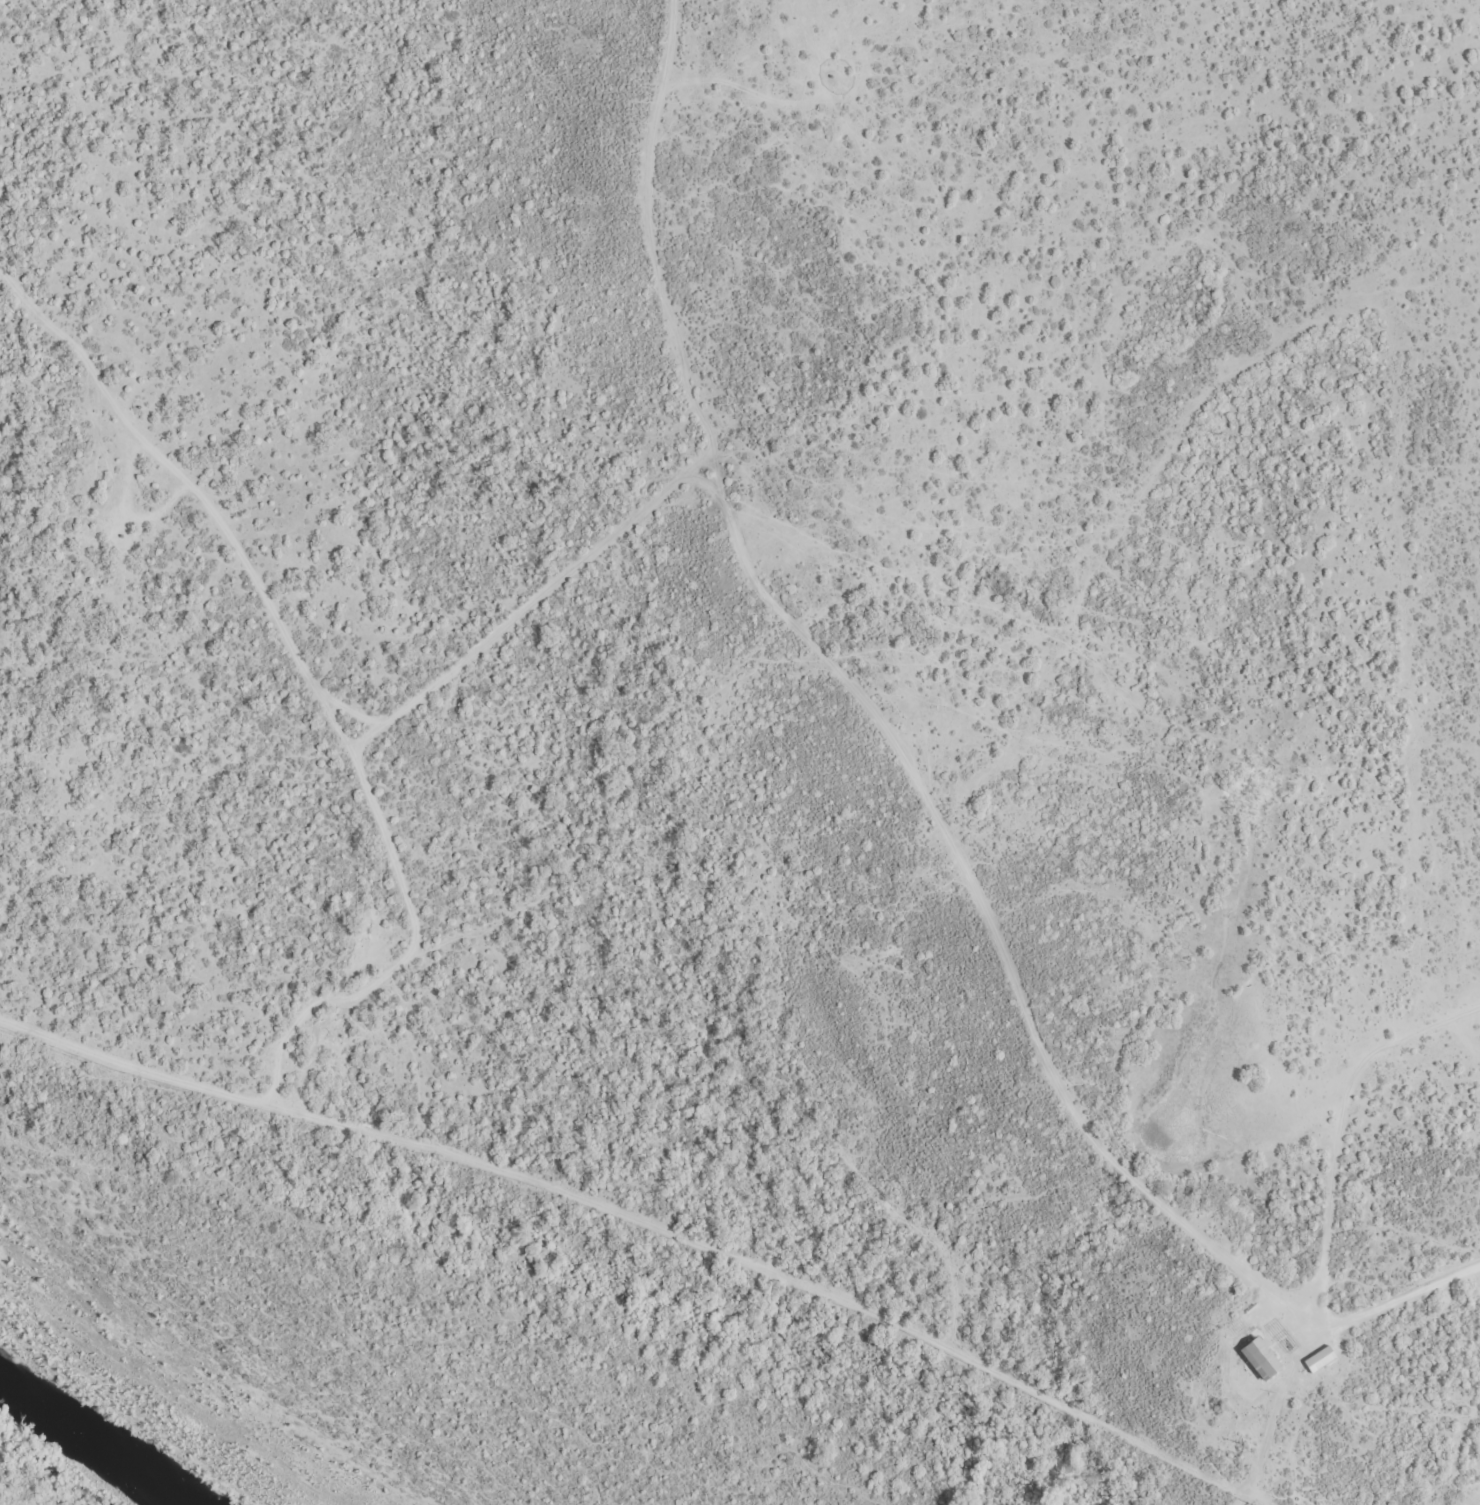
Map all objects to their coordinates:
road: (1347, 1341)
building: (1256, 1359)
building: (1315, 1361)
river: (80, 1453)

